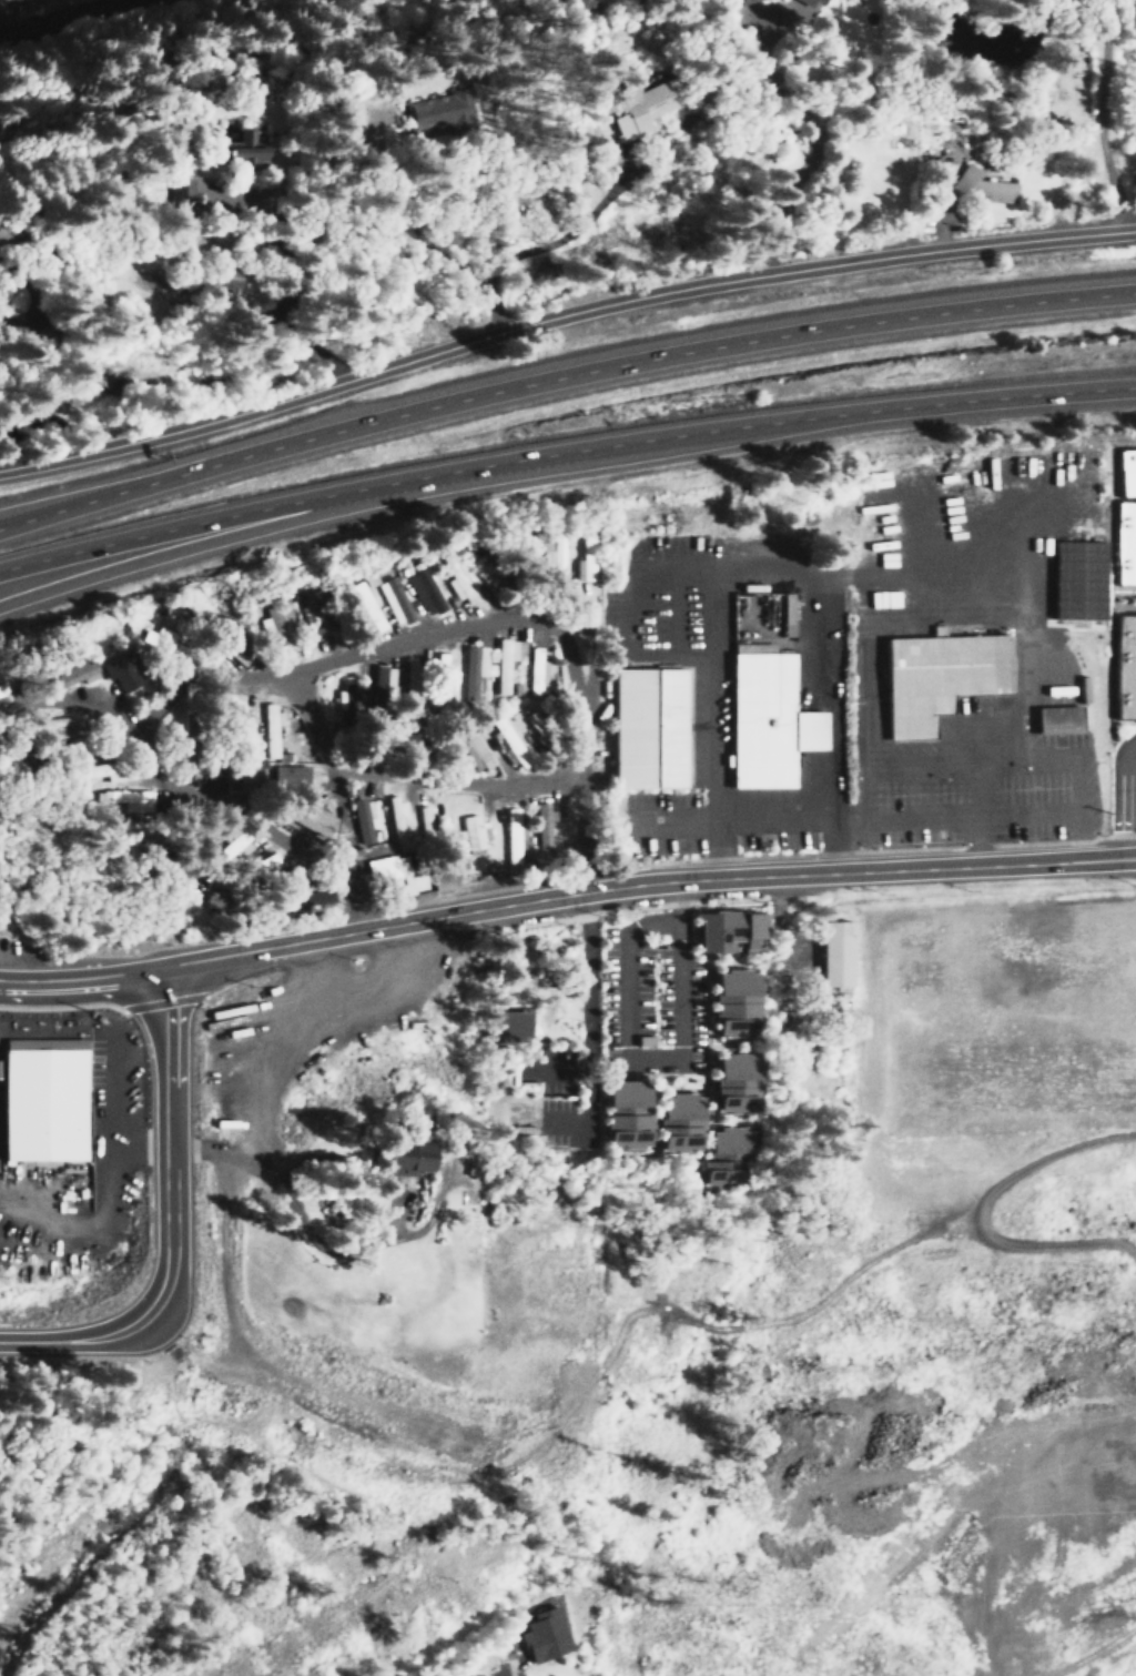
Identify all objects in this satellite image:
building: (780, 2)
railway: (79, 19)
building: (638, 105)
building: (440, 111)
road: (1100, 113)
road: (810, 147)
building: (243, 149)
building: (977, 184)
building: (181, 191)
building: (2, 238)
building: (217, 279)
road: (560, 314)
road: (560, 374)
road: (564, 454)
building: (1126, 470)
road: (30, 513)
road: (237, 533)
building: (1125, 543)
building: (586, 555)
building: (554, 556)
building: (455, 578)
building: (1076, 578)
building: (423, 590)
building: (393, 599)
building: (364, 606)
building: (787, 607)
building: (277, 622)
building: (164, 639)
building: (504, 664)
building: (1125, 668)
building: (538, 670)
building: (120, 672)
building: (69, 673)
building: (471, 673)
building: (410, 677)
building: (936, 677)
building: (381, 678)
building: (1083, 688)
building: (1055, 718)
building: (770, 719)
building: (49, 723)
building: (648, 728)
building: (270, 729)
road: (322, 730)
building: (510, 740)
building: (473, 748)
building: (93, 770)
building: (216, 778)
building: (290, 778)
road: (171, 791)
building: (125, 798)
road: (1130, 805)
building: (312, 816)
building: (397, 816)
building: (425, 819)
building: (361, 820)
building: (542, 827)
building: (475, 831)
building: (513, 835)
road: (589, 840)
building: (233, 846)
road: (1134, 858)
building: (258, 866)
building: (385, 874)
building: (440, 879)
building: (305, 897)
road: (562, 898)
building: (727, 931)
building: (836, 952)
building: (733, 1003)
building: (506, 1026)
road: (628, 1048)
road: (285, 1054)
building: (736, 1082)
building: (40, 1103)
building: (626, 1114)
building: (681, 1122)
road: (172, 1140)
building: (727, 1154)
building: (403, 1158)
road: (81, 1340)
road: (331, 1487)
road: (51, 1556)
building: (542, 1634)
road: (489, 1666)

